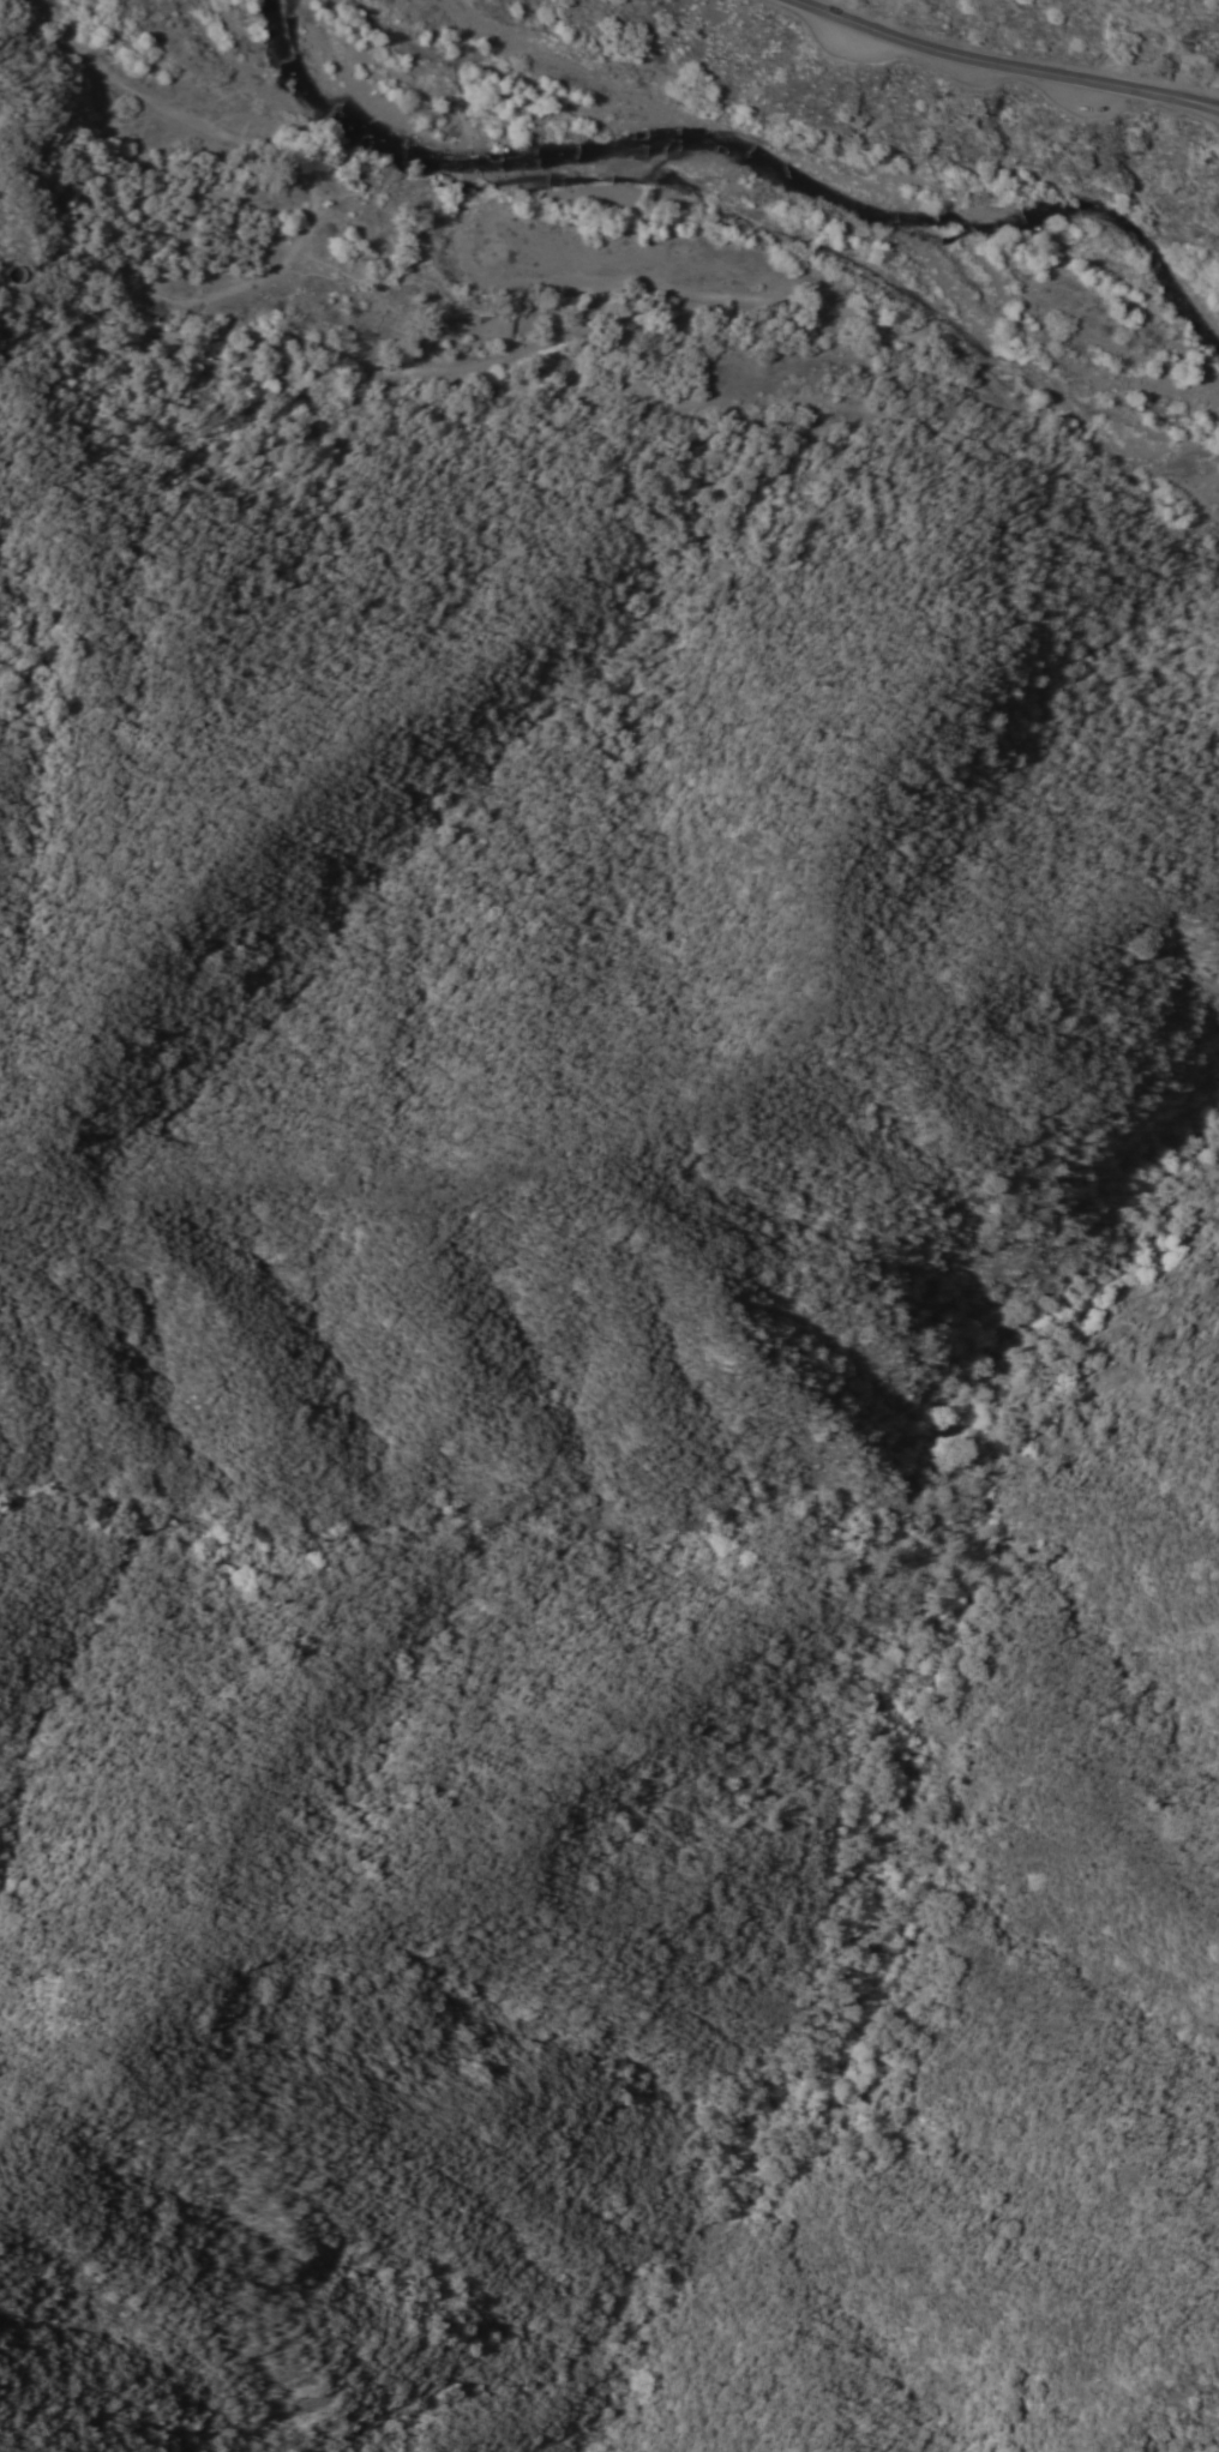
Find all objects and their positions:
road: (1002, 66)
building: (146, 169)
river: (761, 191)
road: (6, 233)
building: (17, 272)
road: (132, 272)
building: (493, 325)
building: (575, 372)

